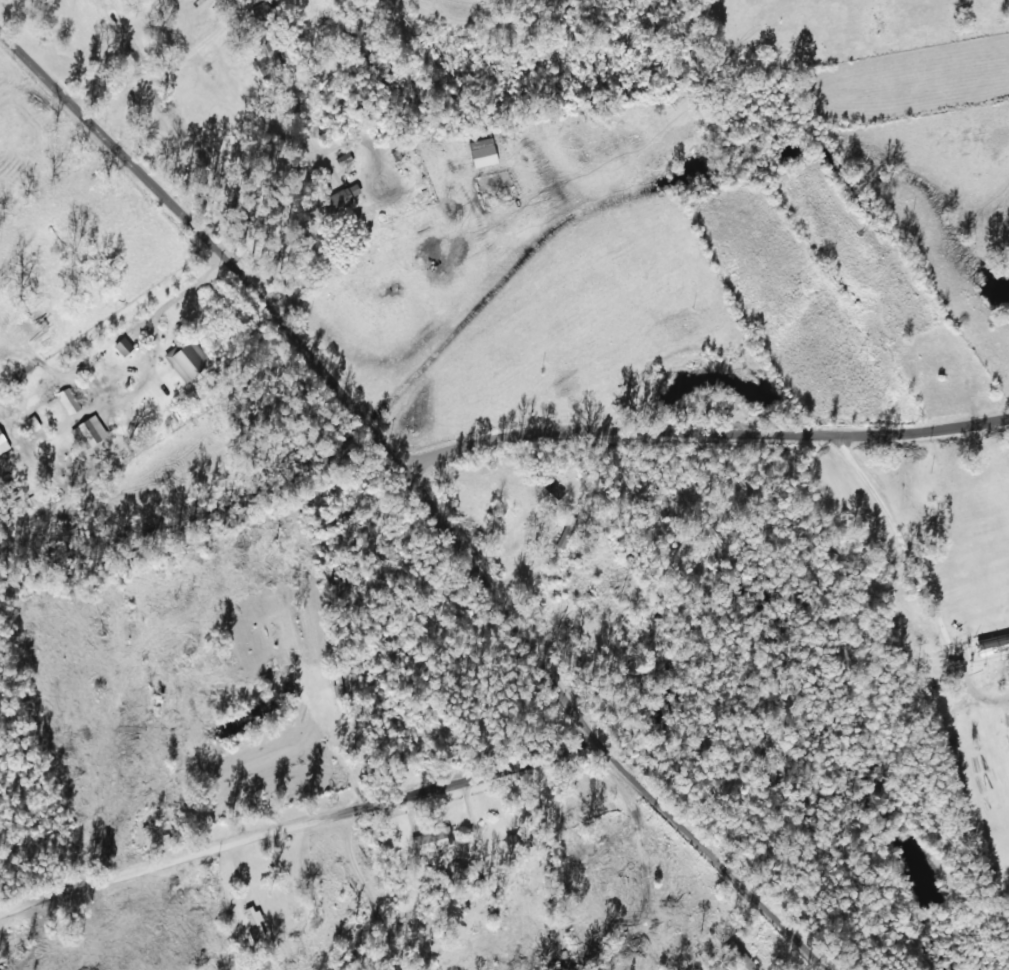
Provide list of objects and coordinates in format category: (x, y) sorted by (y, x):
building: (263, 7)
building: (269, 62)
building: (483, 152)
building: (344, 196)
building: (124, 346)
building: (185, 361)
building: (68, 401)
building: (88, 433)
road: (418, 472)
building: (988, 649)
road: (552, 742)
road: (347, 796)
building: (432, 841)
building: (254, 924)

